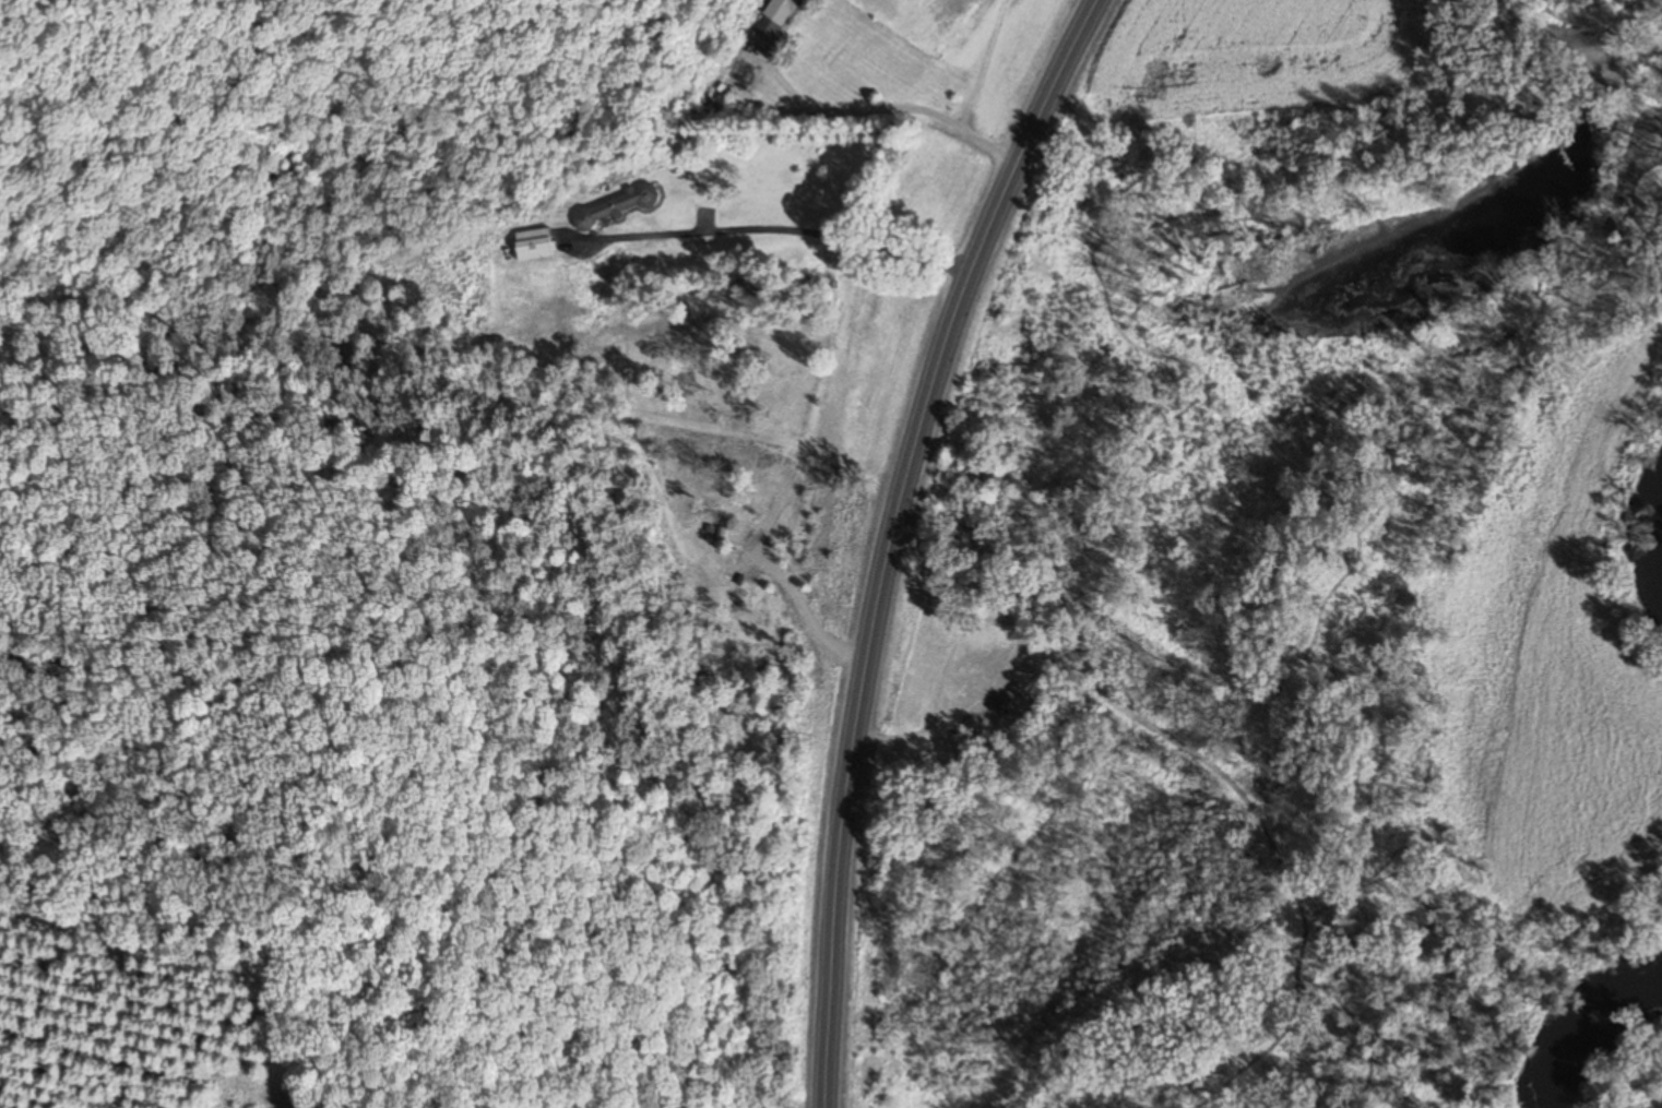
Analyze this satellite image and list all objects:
building: (772, 19)
road: (823, 111)
building: (614, 207)
building: (533, 245)
river: (1659, 516)
road: (891, 535)
river: (1582, 1016)

